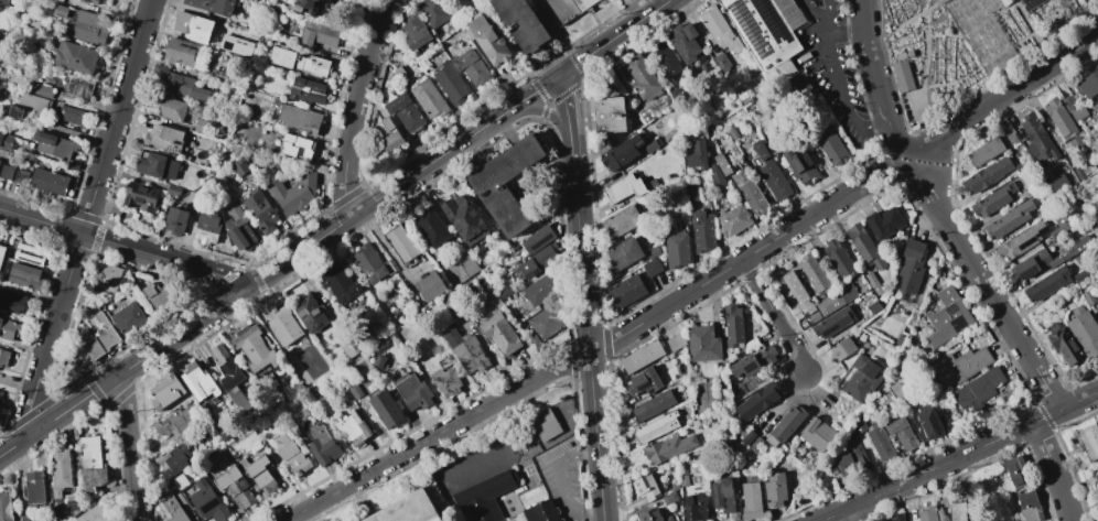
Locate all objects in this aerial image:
building: (322, 0)
building: (61, 1)
building: (91, 1)
building: (1003, 1)
building: (4, 2)
building: (582, 3)
building: (1030, 3)
rooftop solar panel: (1033, 3)
building: (214, 6)
building: (304, 7)
building: (61, 10)
parking lot: (556, 11)
building: (433, 12)
rooftop solar panel: (768, 14)
road: (828, 14)
building: (187, 23)
building: (521, 23)
building: (477, 24)
building: (88, 29)
road: (846, 29)
building: (719, 30)
rooftop solar panel: (752, 31)
building: (413, 32)
building: (767, 33)
building: (319, 35)
building: (683, 42)
road: (568, 44)
building: (227, 45)
building: (494, 47)
building: (187, 54)
building: (77, 57)
building: (664, 61)
building: (300, 62)
building: (721, 63)
building: (472, 68)
building: (399, 72)
road: (837, 72)
parking lot: (838, 72)
building: (256, 73)
building: (224, 74)
traffic signals: (559, 75)
building: (902, 76)
building: (640, 77)
road: (875, 78)
building: (250, 84)
building: (1087, 84)
building: (181, 85)
building: (451, 85)
building: (77, 87)
building: (308, 90)
building: (43, 91)
road: (1003, 94)
building: (430, 99)
road: (354, 106)
building: (28, 107)
building: (170, 107)
building: (1074, 109)
building: (1095, 109)
traffic signals: (540, 111)
road: (545, 111)
building: (406, 112)
building: (72, 115)
building: (609, 116)
building: (299, 118)
road: (568, 119)
building: (1058, 121)
building: (388, 126)
building: (202, 127)
building: (164, 139)
building: (1011, 139)
building: (1037, 139)
building: (7, 142)
road: (457, 143)
building: (386, 144)
building: (1076, 144)
building: (56, 145)
building: (652, 145)
building: (830, 145)
building: (298, 148)
rooftop solar panel: (789, 152)
building: (984, 152)
building: (621, 153)
building: (696, 156)
building: (186, 159)
road: (906, 160)
building: (0, 162)
building: (721, 164)
rooftop solar panel: (797, 164)
building: (799, 164)
building: (157, 166)
building: (1020, 166)
building: (241, 167)
building: (7, 172)
building: (771, 174)
building: (987, 175)
building: (715, 176)
building: (21, 177)
building: (49, 182)
building: (1058, 182)
building: (507, 184)
building: (623, 188)
building: (175, 191)
building: (749, 192)
building: (294, 194)
building: (141, 197)
rooftop solar panel: (126, 199)
building: (992, 199)
building: (964, 200)
building: (194, 206)
building: (261, 211)
road: (87, 215)
building: (465, 220)
building: (731, 220)
building: (1008, 220)
building: (176, 222)
building: (621, 222)
building: (884, 222)
building: (1059, 225)
building: (209, 227)
building: (432, 227)
building: (240, 228)
rooftop solar panel: (1043, 230)
building: (702, 231)
rooftop solar panel: (1037, 236)
building: (538, 239)
building: (1021, 241)
rooftop solar panel: (1026, 242)
building: (401, 243)
rooftop solar panel: (28, 245)
rooftop solar panel: (541, 245)
road: (123, 247)
building: (676, 247)
building: (863, 247)
building: (650, 251)
rooftop solar panel: (29, 252)
building: (2, 253)
building: (624, 253)
building: (33, 254)
building: (838, 259)
building: (1045, 259)
rooftop solar panel: (31, 260)
building: (539, 261)
building: (372, 264)
building: (909, 267)
building: (652, 268)
rooftop solar panel: (1027, 272)
building: (814, 274)
building: (1081, 274)
building: (25, 276)
building: (108, 278)
building: (132, 278)
building: (873, 283)
building: (342, 284)
building: (1047, 284)
building: (431, 287)
road: (986, 287)
building: (542, 291)
building: (625, 292)
building: (794, 292)
building: (506, 294)
building: (130, 295)
building: (158, 296)
building: (1088, 297)
building: (836, 300)
building: (11, 302)
building: (1097, 306)
building: (873, 307)
building: (1097, 310)
building: (311, 313)
road: (775, 316)
building: (812, 317)
building: (947, 317)
building: (129, 318)
building: (548, 322)
building: (832, 323)
building: (286, 326)
building: (733, 327)
building: (9, 329)
road: (184, 329)
building: (1084, 332)
building: (500, 334)
building: (97, 341)
building: (675, 341)
building: (536, 343)
road: (590, 343)
building: (702, 344)
building: (1064, 344)
road: (598, 347)
building: (255, 348)
building: (349, 349)
building: (841, 349)
building: (466, 350)
building: (4, 357)
building: (640, 357)
building: (446, 361)
building: (753, 361)
building: (961, 366)
rooftop solar panel: (749, 367)
building: (227, 368)
building: (861, 378)
building: (200, 381)
building: (446, 382)
building: (643, 382)
building: (742, 390)
building: (165, 392)
building: (412, 392)
building: (977, 392)
building: (757, 401)
road: (1079, 401)
building: (653, 405)
building: (386, 406)
road: (60, 413)
road: (1047, 415)
building: (309, 423)
building: (929, 423)
building: (176, 424)
building: (545, 426)
building: (785, 426)
building: (656, 427)
building: (351, 430)
road: (1014, 431)
building: (816, 434)
building: (902, 434)
building: (747, 438)
building: (1089, 441)
building: (880, 442)
building: (756, 444)
building: (323, 445)
road: (980, 446)
road: (128, 447)
building: (668, 448)
building: (858, 455)
building: (293, 457)
building: (173, 460)
building: (214, 460)
building: (842, 460)
building: (93, 464)
building: (241, 464)
road: (1054, 470)
building: (1015, 471)
building: (61, 473)
building: (77, 476)
building: (262, 476)
building: (227, 478)
parking lot: (562, 478)
building: (1096, 478)
building: (683, 480)
road: (564, 481)
building: (180, 482)
road: (893, 486)
building: (647, 487)
building: (35, 488)
building: (774, 490)
building: (241, 495)
building: (671, 495)
building: (722, 495)
building: (485, 497)
building: (751, 501)
building: (209, 502)
building: (71, 504)
rooftop solar panel: (207, 504)
building: (6, 506)
rooftop solar panel: (73, 506)
building: (1029, 507)
building: (696, 508)
building: (172, 509)
building: (409, 510)
building: (957, 511)
building: (542, 512)
road: (855, 512)
building: (93, 513)
building: (926, 513)
building: (654, 515)
building: (897, 517)
building: (24, 518)

